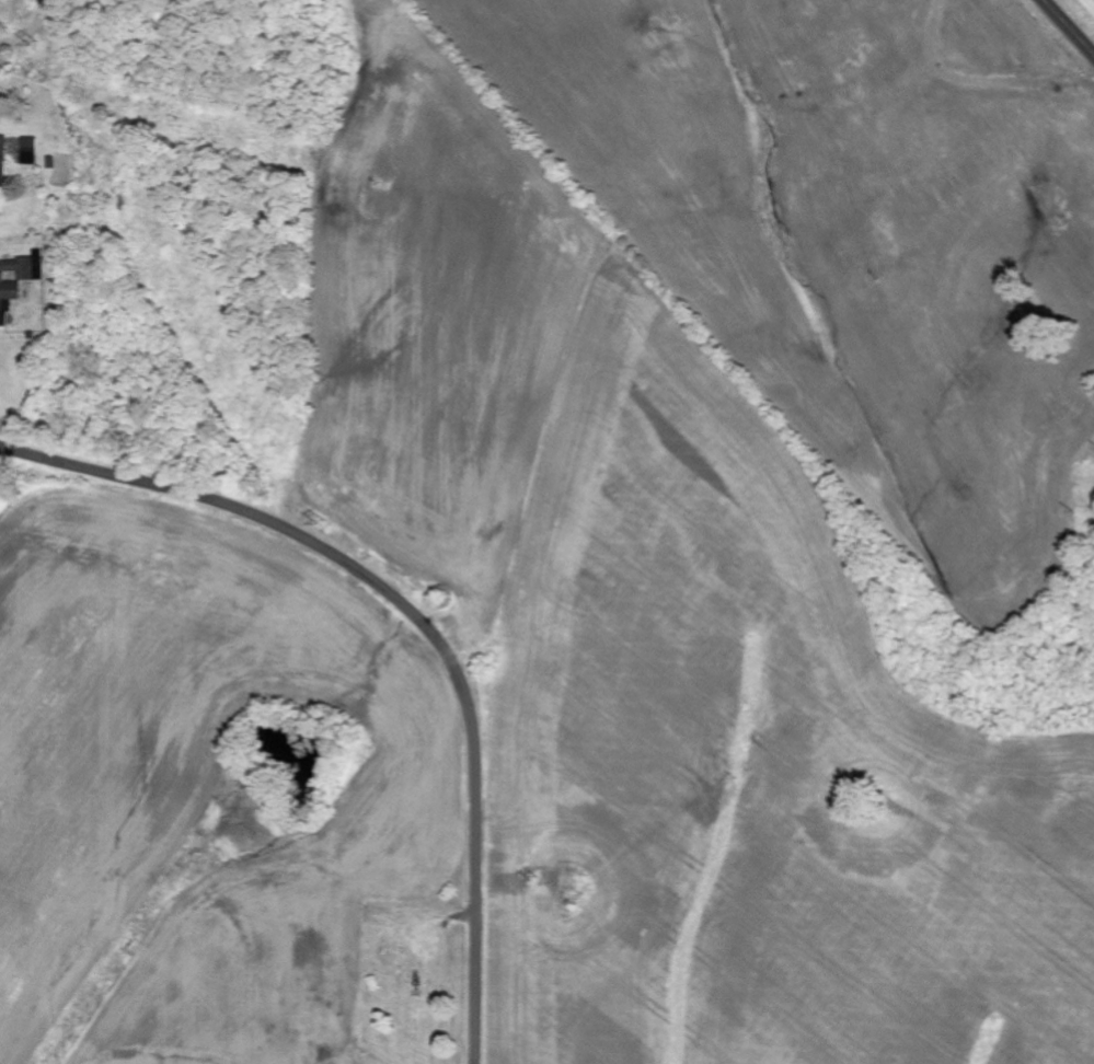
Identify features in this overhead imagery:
road: (1070, 25)
building: (30, 151)
building: (2, 160)
building: (16, 279)
road: (418, 618)

